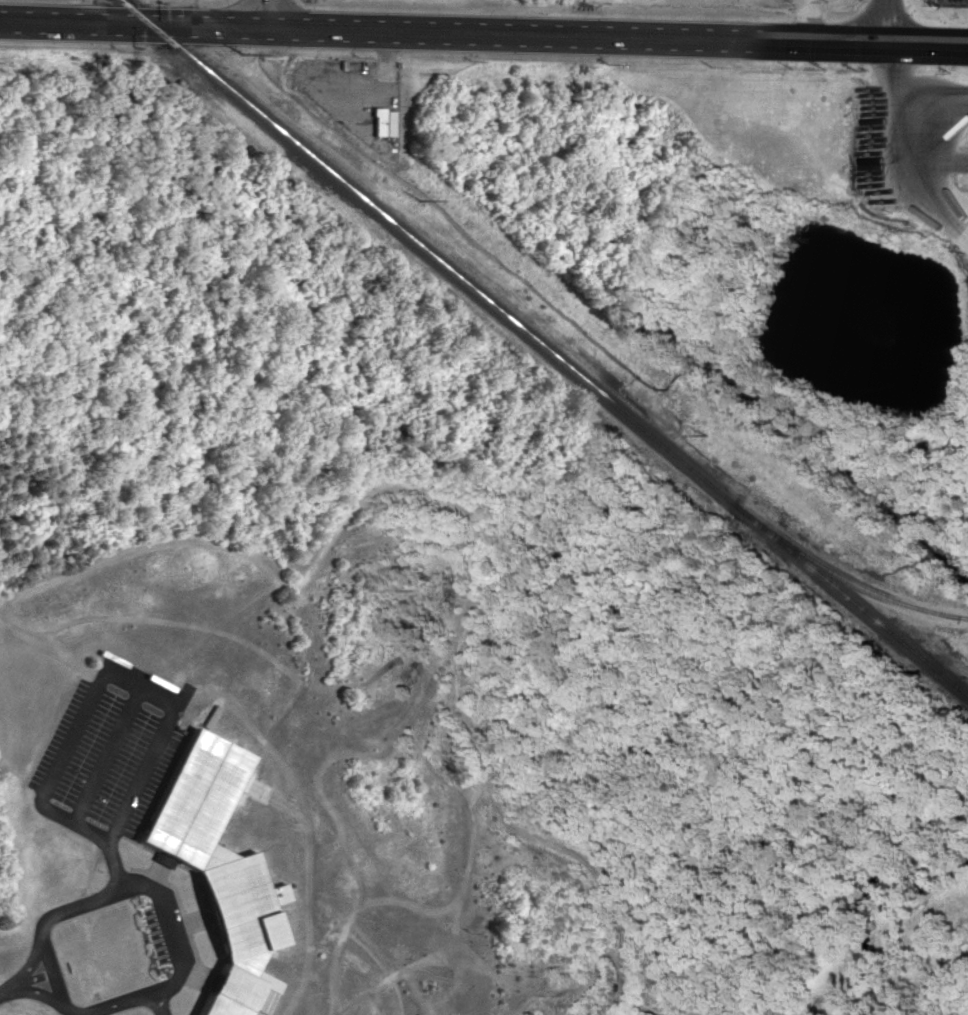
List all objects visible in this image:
railway: (134, 14)
road: (268, 15)
road: (886, 23)
road: (483, 36)
road: (911, 94)
building: (384, 121)
railway: (559, 359)
railway: (875, 591)
road: (135, 683)
road: (107, 755)
building: (217, 869)
road: (130, 885)
road: (9, 989)
road: (158, 1004)

